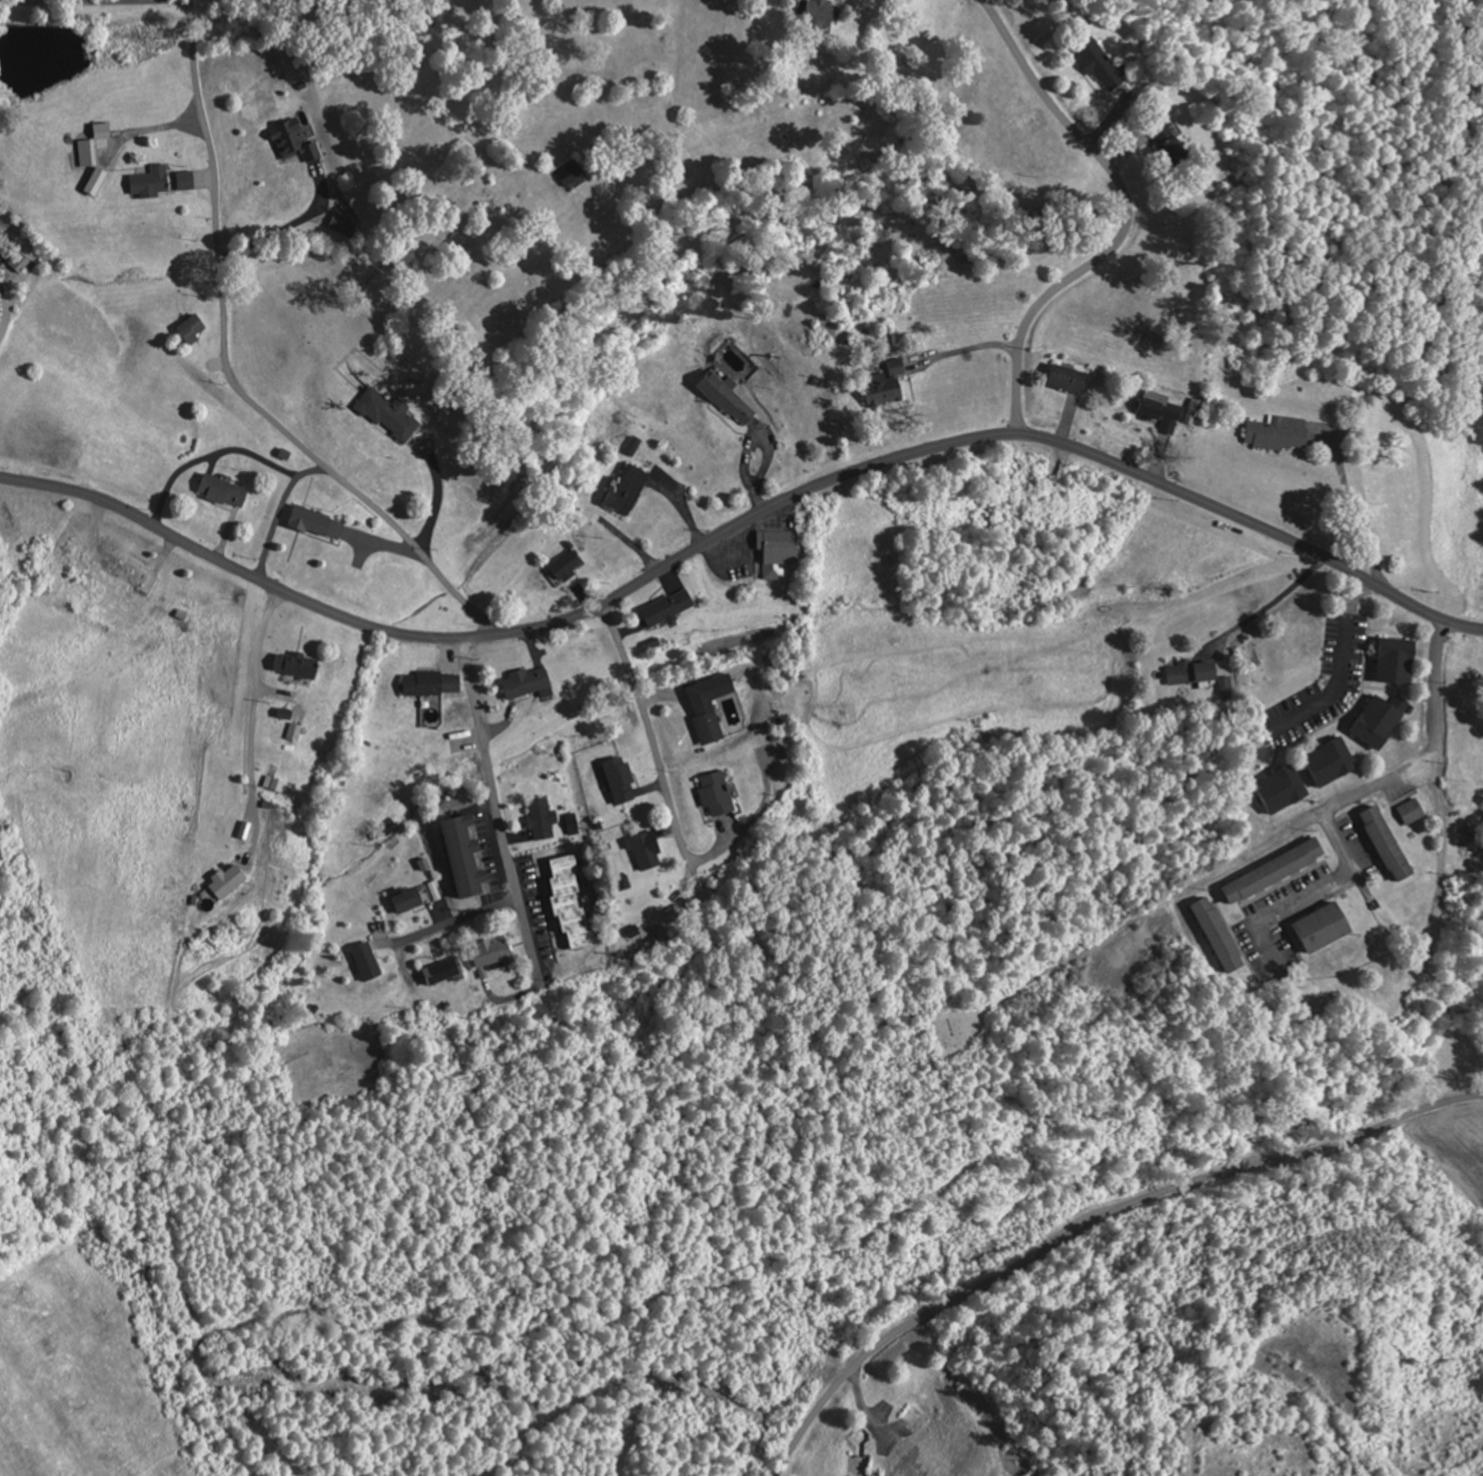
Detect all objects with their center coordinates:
road: (95, 2)
building: (825, 14)
building: (1101, 66)
building: (104, 132)
building: (296, 144)
building: (89, 154)
building: (573, 175)
building: (99, 182)
building: (188, 182)
building: (153, 183)
road: (1127, 217)
building: (346, 227)
road: (8, 301)
building: (194, 329)
road: (231, 373)
building: (1071, 379)
building: (889, 384)
building: (731, 398)
building: (1163, 411)
building: (391, 414)
building: (1281, 433)
building: (636, 446)
building: (630, 489)
building: (226, 491)
road: (740, 522)
building: (318, 523)
building: (780, 552)
building: (569, 566)
road: (1265, 607)
building: (670, 608)
building: (1399, 661)
building: (298, 665)
building: (1196, 673)
building: (531, 683)
building: (435, 684)
building: (712, 707)
building: (287, 714)
building: (1384, 720)
road: (650, 732)
building: (296, 733)
building: (1335, 762)
building: (623, 780)
building: (276, 784)
building: (1286, 789)
road: (1368, 791)
building: (718, 794)
road: (497, 808)
building: (1415, 812)
building: (545, 819)
road: (752, 820)
building: (1390, 844)
building: (646, 851)
building: (468, 857)
road: (1440, 861)
building: (1278, 871)
building: (229, 882)
building: (410, 901)
building: (573, 901)
building: (672, 913)
road: (458, 918)
building: (1327, 927)
building: (1222, 935)
building: (494, 956)
building: (369, 962)
building: (446, 972)
park: (956, 1037)
road: (1093, 1220)

